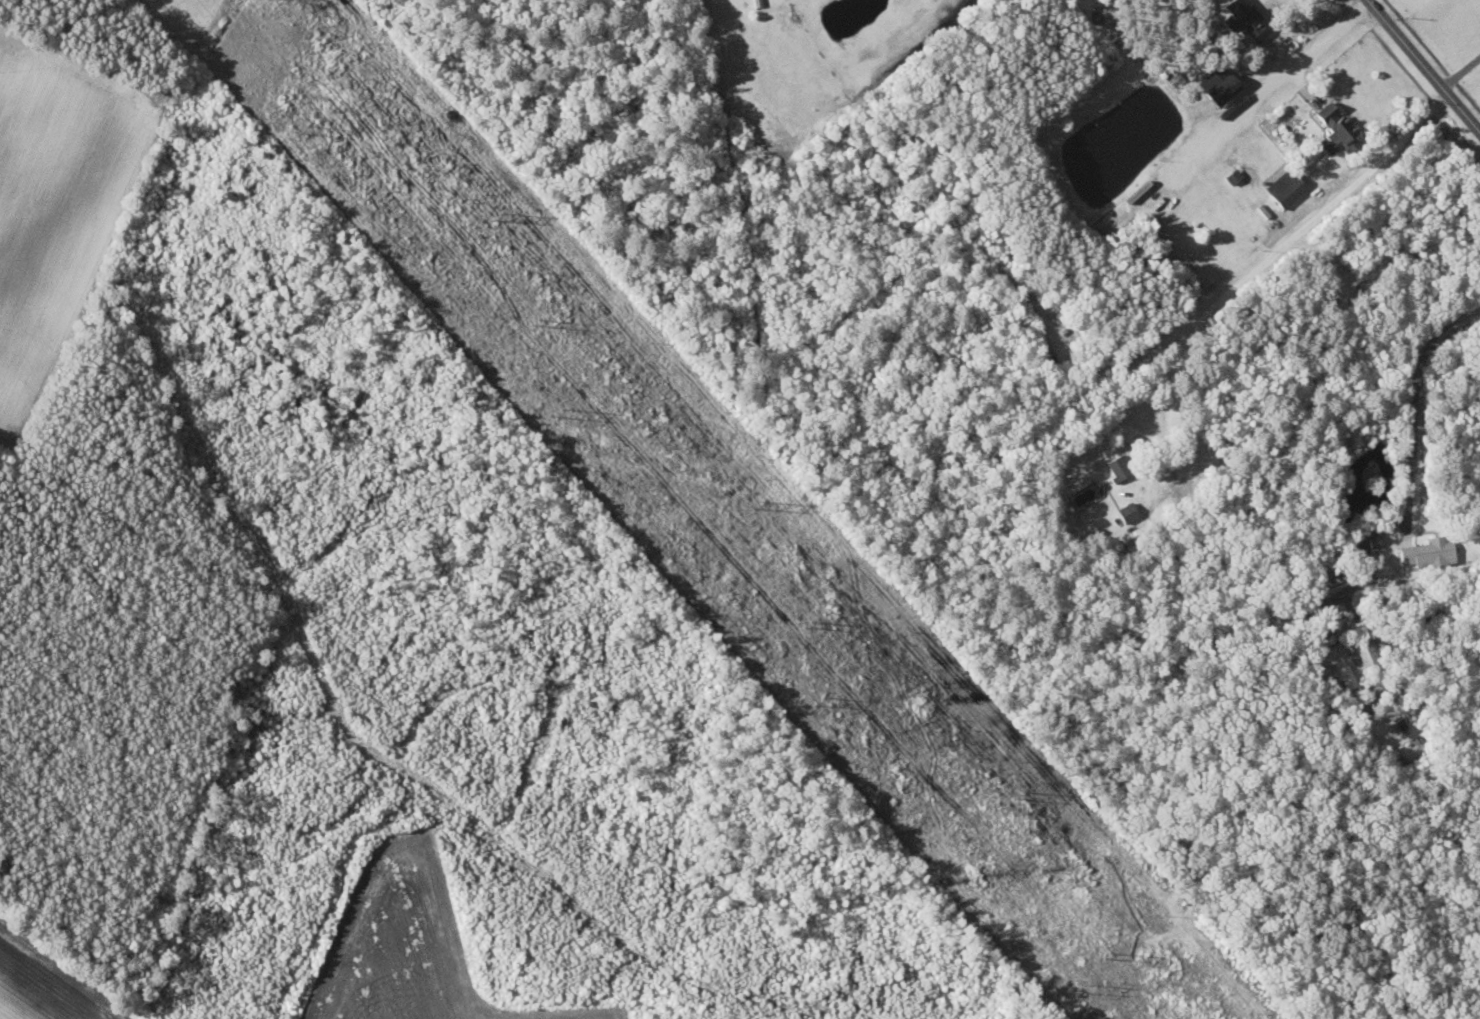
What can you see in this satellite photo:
building: (1244, 20)
road: (1424, 64)
building: (1219, 84)
power tower: (305, 129)
building: (1336, 129)
building: (1286, 187)
power tower: (497, 215)
road: (1296, 230)
power tower: (537, 321)
road: (1415, 399)
power tower: (558, 417)
building: (1119, 466)
power tower: (758, 503)
building: (1128, 512)
building: (1430, 552)
power tower: (810, 622)
building: (1369, 656)
building: (1351, 683)
power tower: (821, 703)
power tower: (1022, 794)
power tower: (1109, 952)
power tower: (1075, 991)

